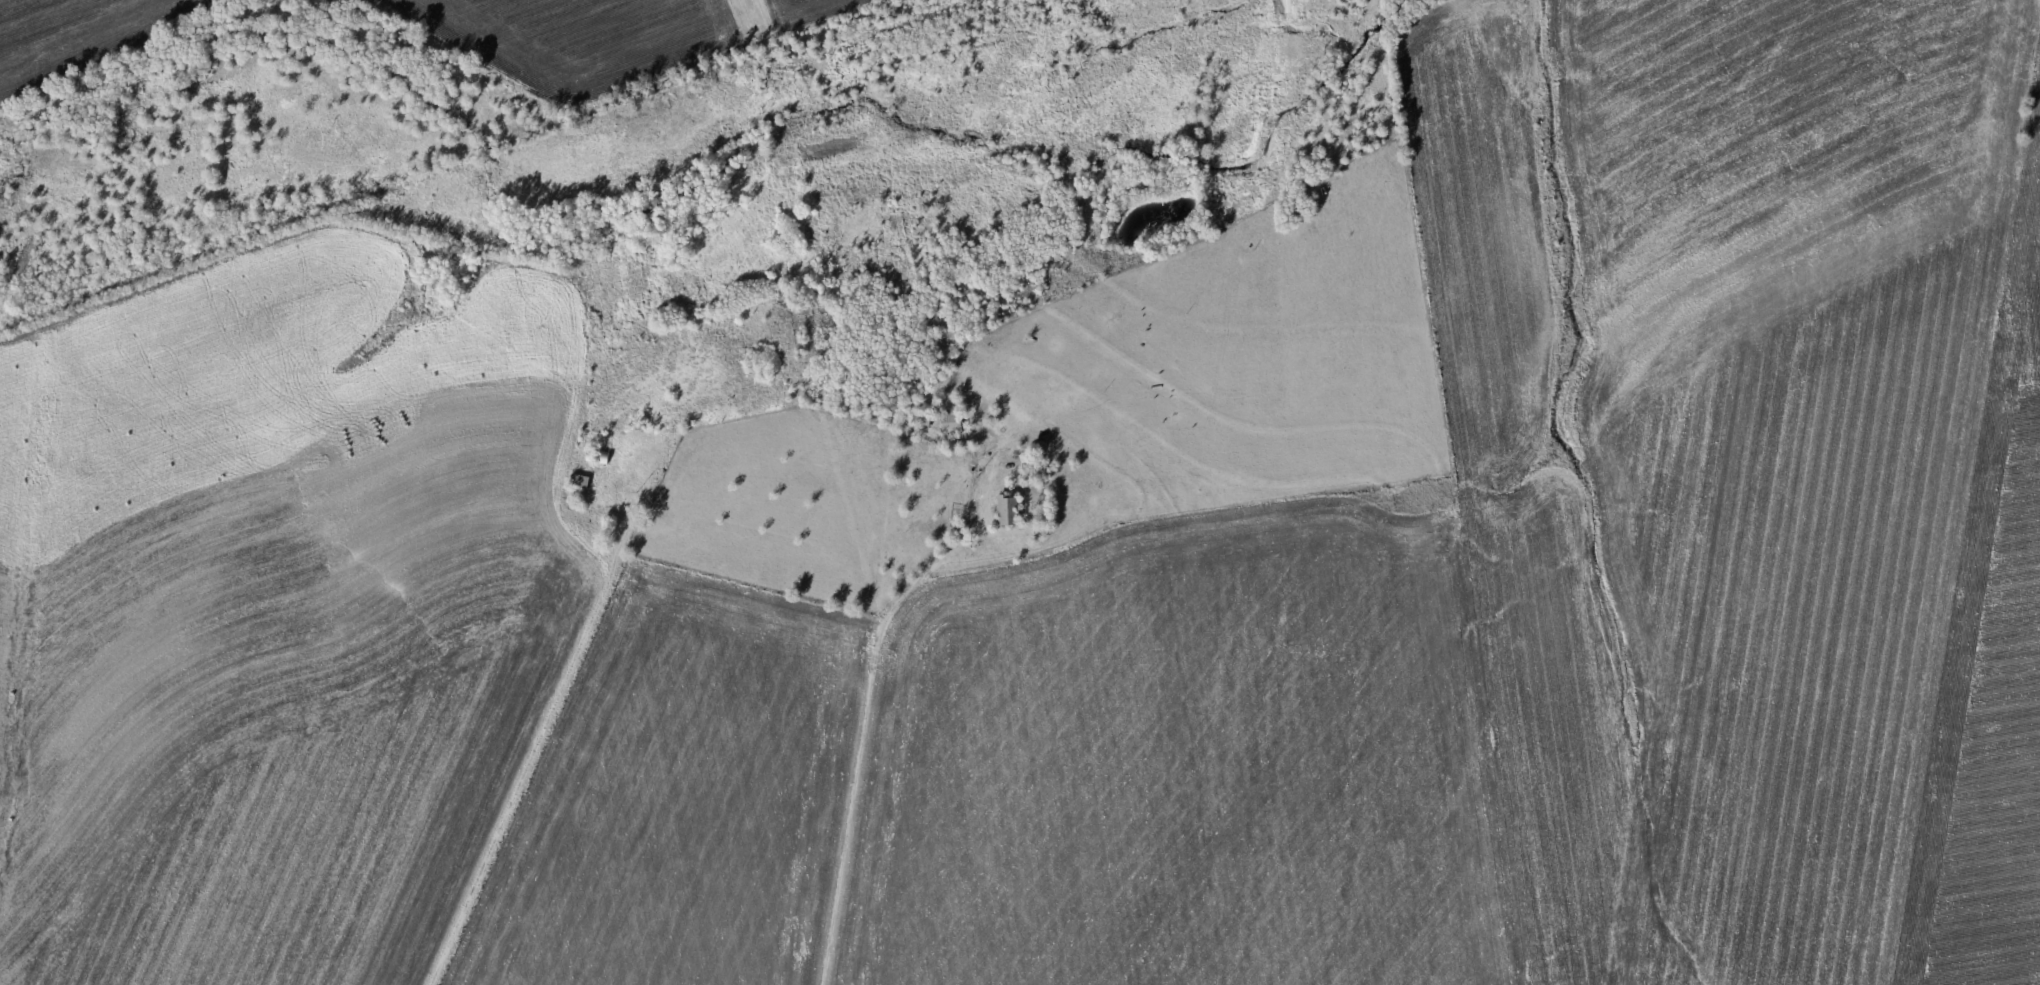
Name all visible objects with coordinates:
road: (862, 736)
road: (530, 756)

